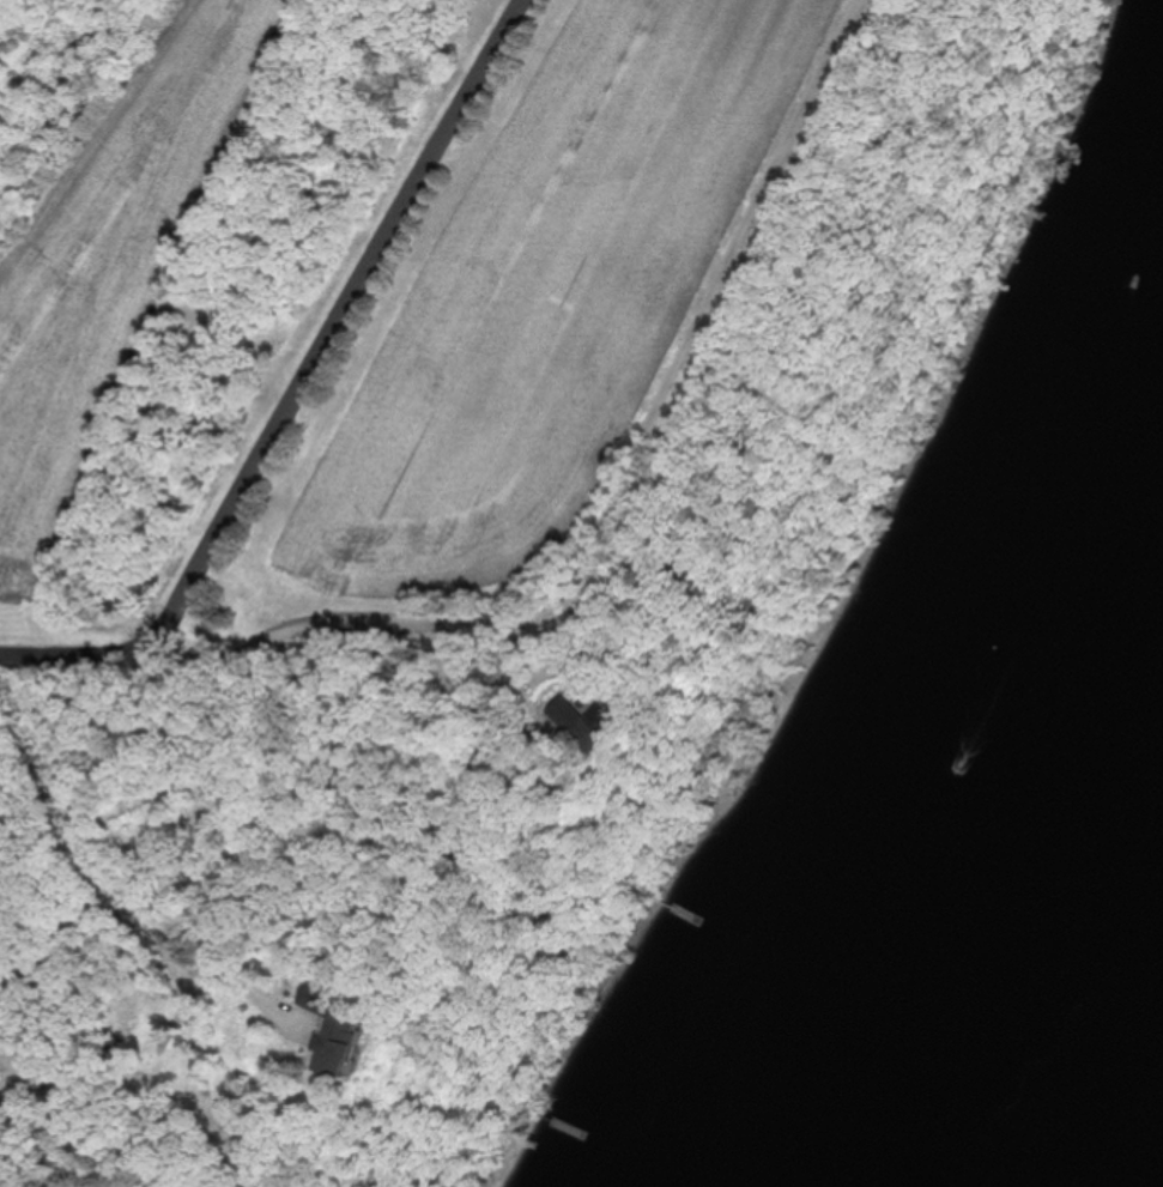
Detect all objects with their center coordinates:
road: (329, 321)
road: (673, 364)
road: (285, 628)
road: (80, 648)
road: (368, 667)
road: (108, 864)
building: (339, 1041)
road: (7, 1175)

